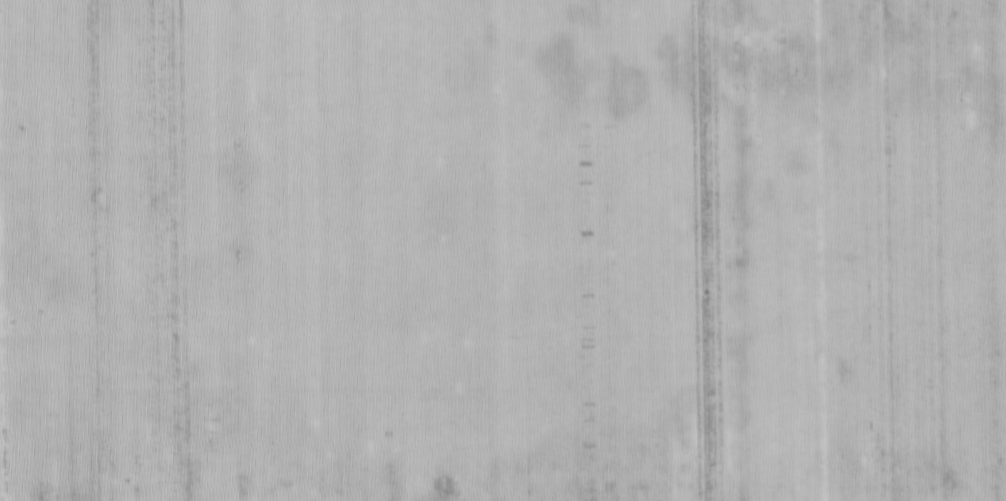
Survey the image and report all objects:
crop: (503, 250)

